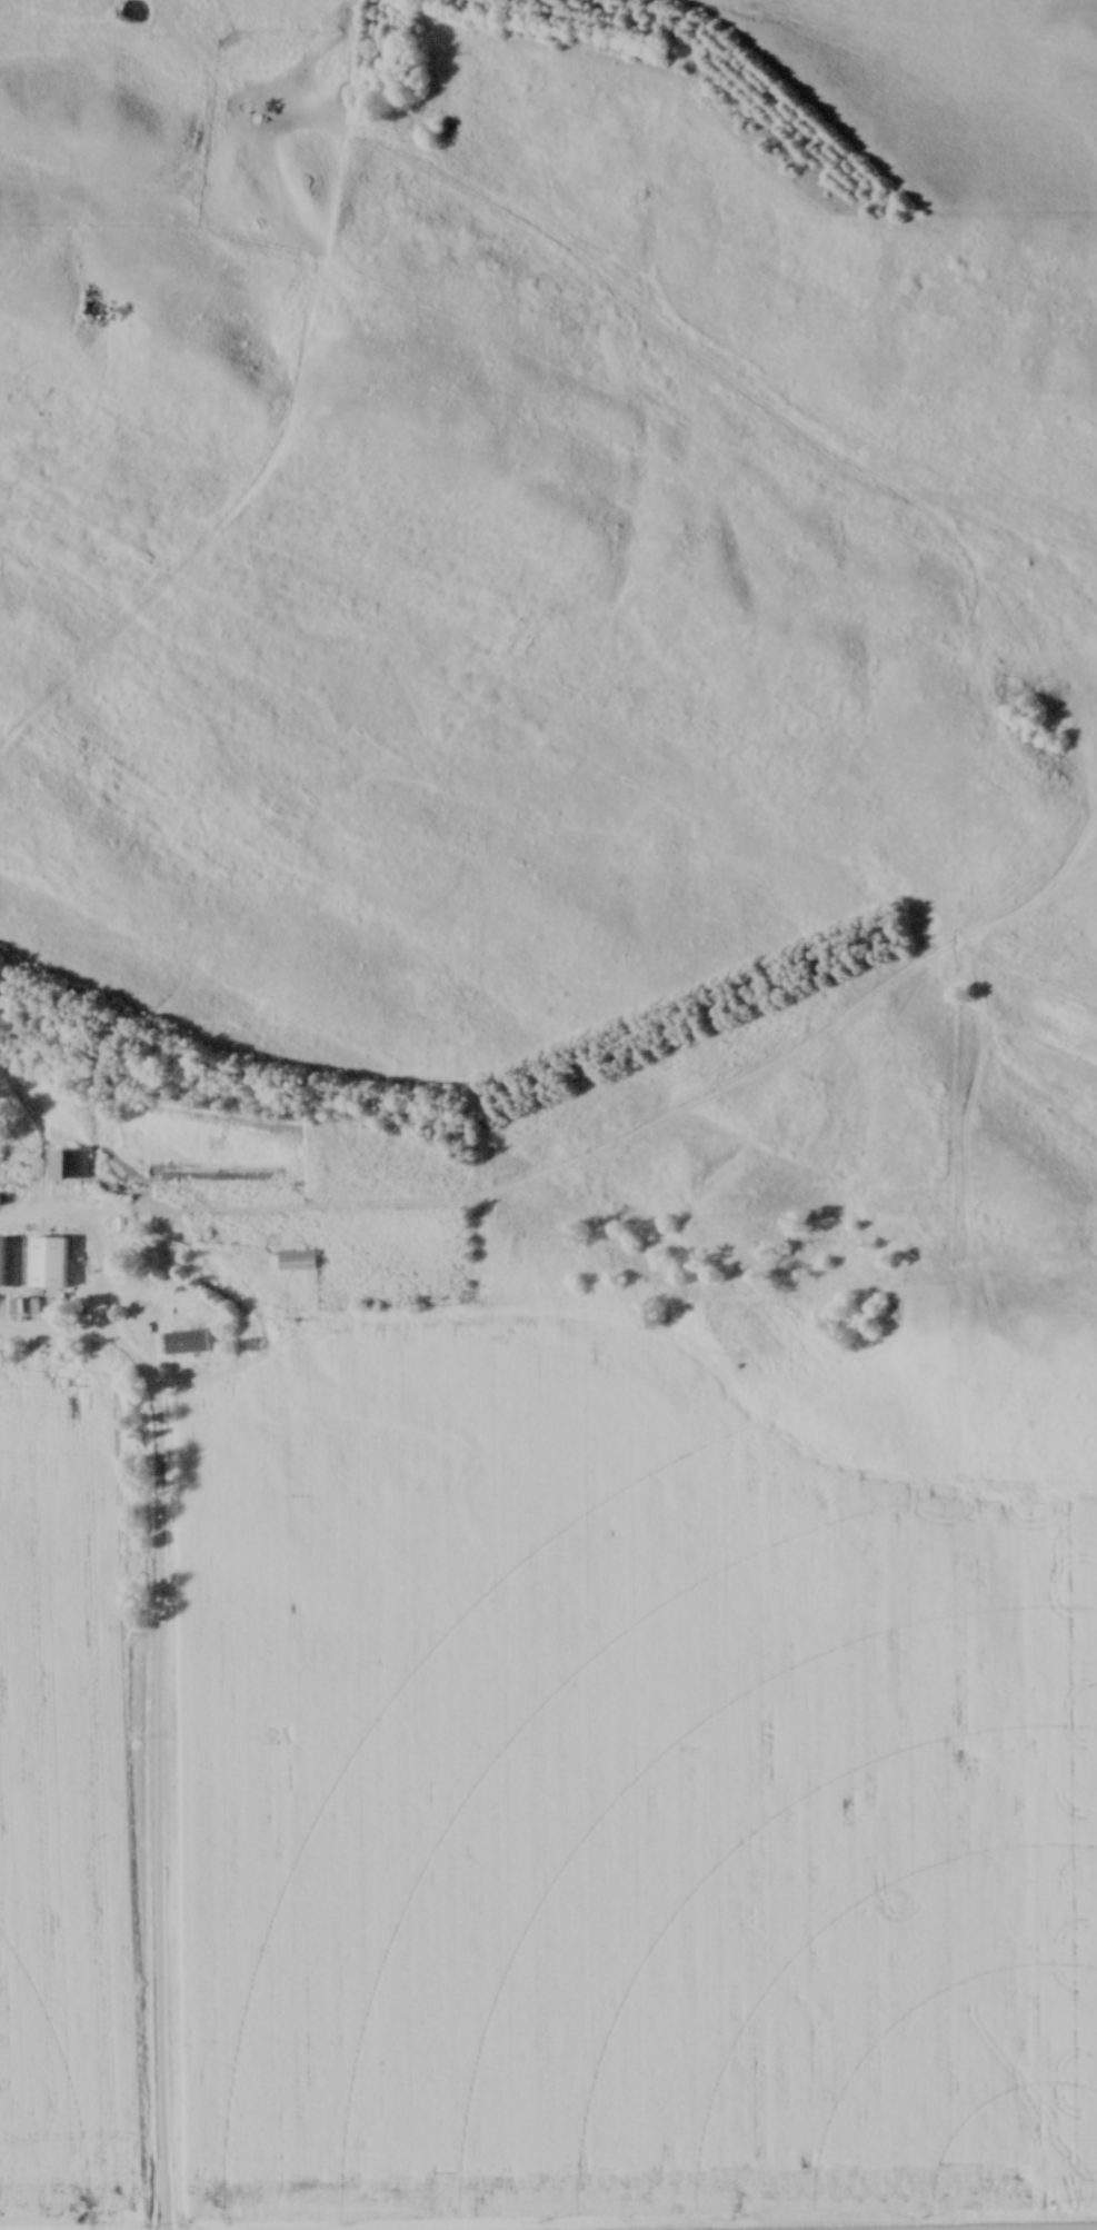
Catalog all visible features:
building: (71, 1168)
building: (300, 1264)
building: (9, 1265)
building: (51, 1265)
building: (190, 1345)
road: (160, 1765)

